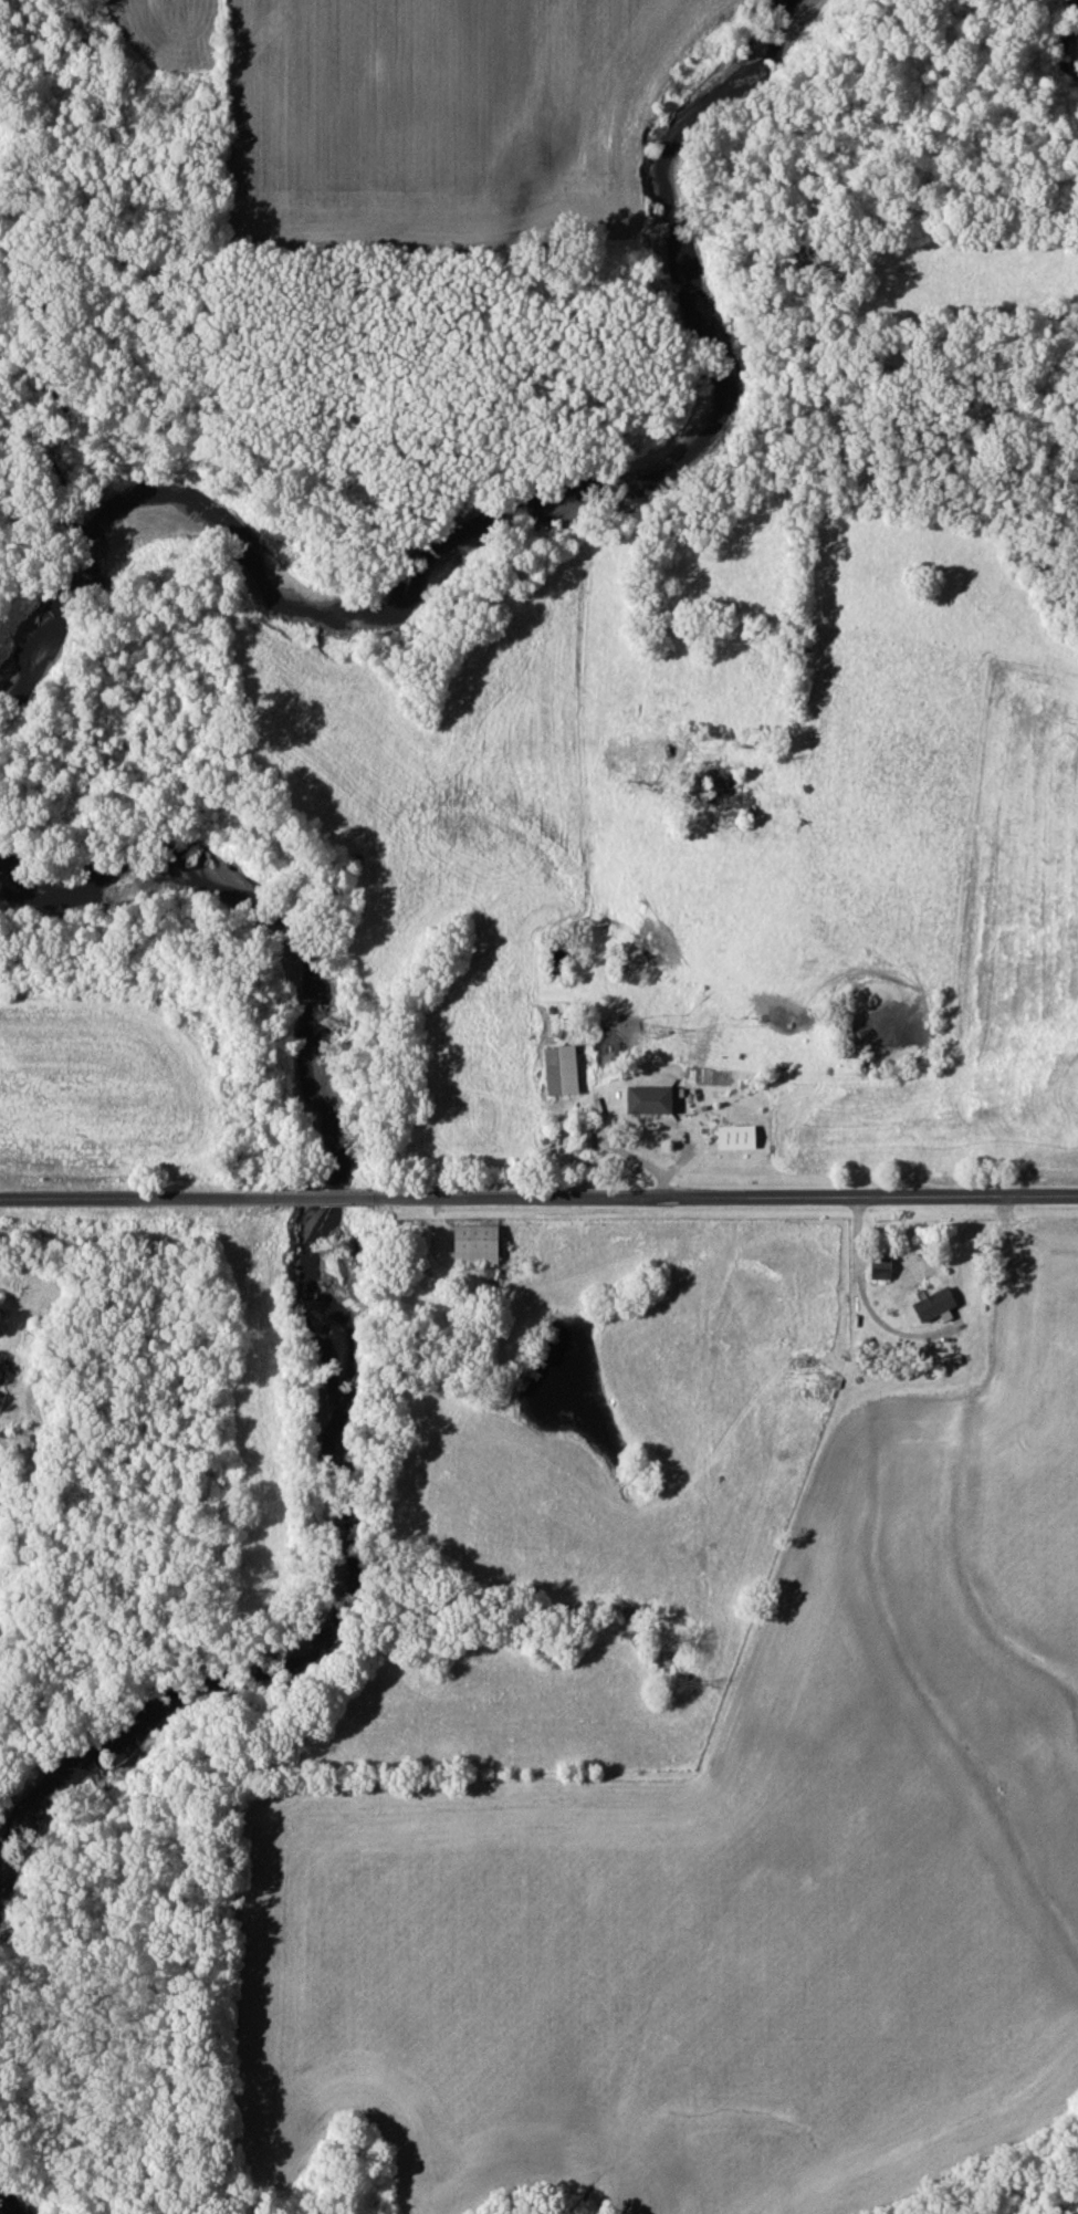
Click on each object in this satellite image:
river: (573, 510)
building: (564, 1071)
building: (658, 1099)
building: (586, 1134)
building: (739, 1137)
road: (728, 1194)
road: (326, 1197)
road: (137, 1198)
building: (482, 1243)
building: (901, 1266)
river: (333, 1315)
river: (11, 2203)

